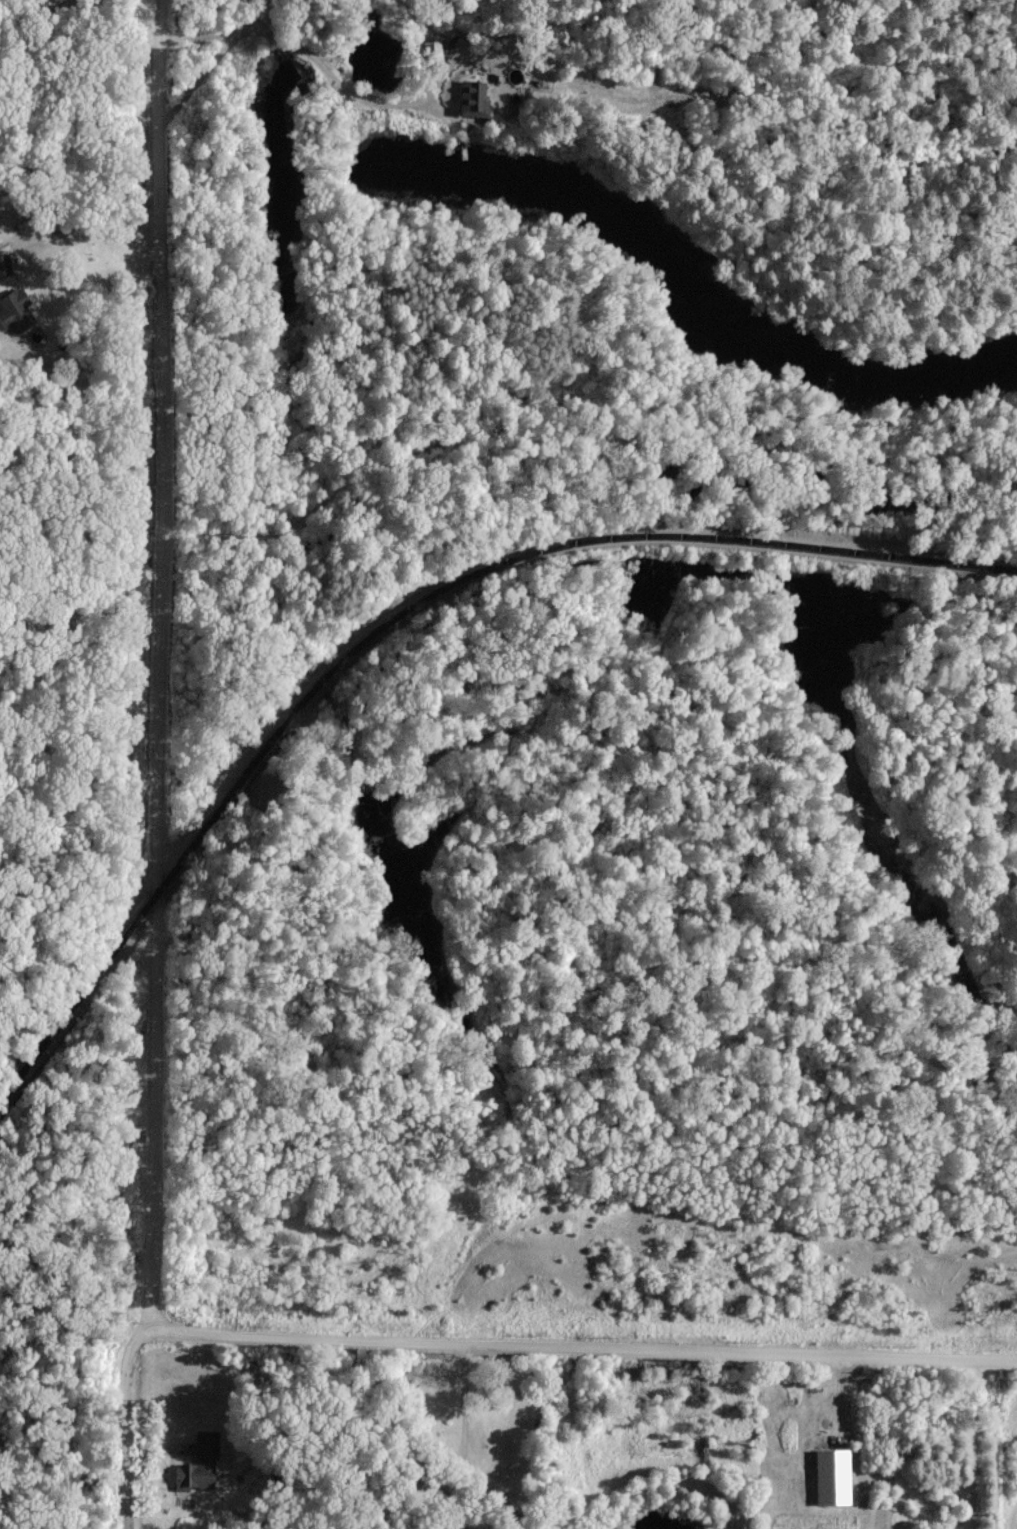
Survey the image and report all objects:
road: (342, 84)
building: (475, 98)
road: (92, 235)
building: (5, 264)
building: (15, 309)
railway: (401, 615)
road: (162, 768)
road: (583, 1348)
road: (465, 1437)
road: (977, 1444)
building: (200, 1464)
building: (833, 1477)

